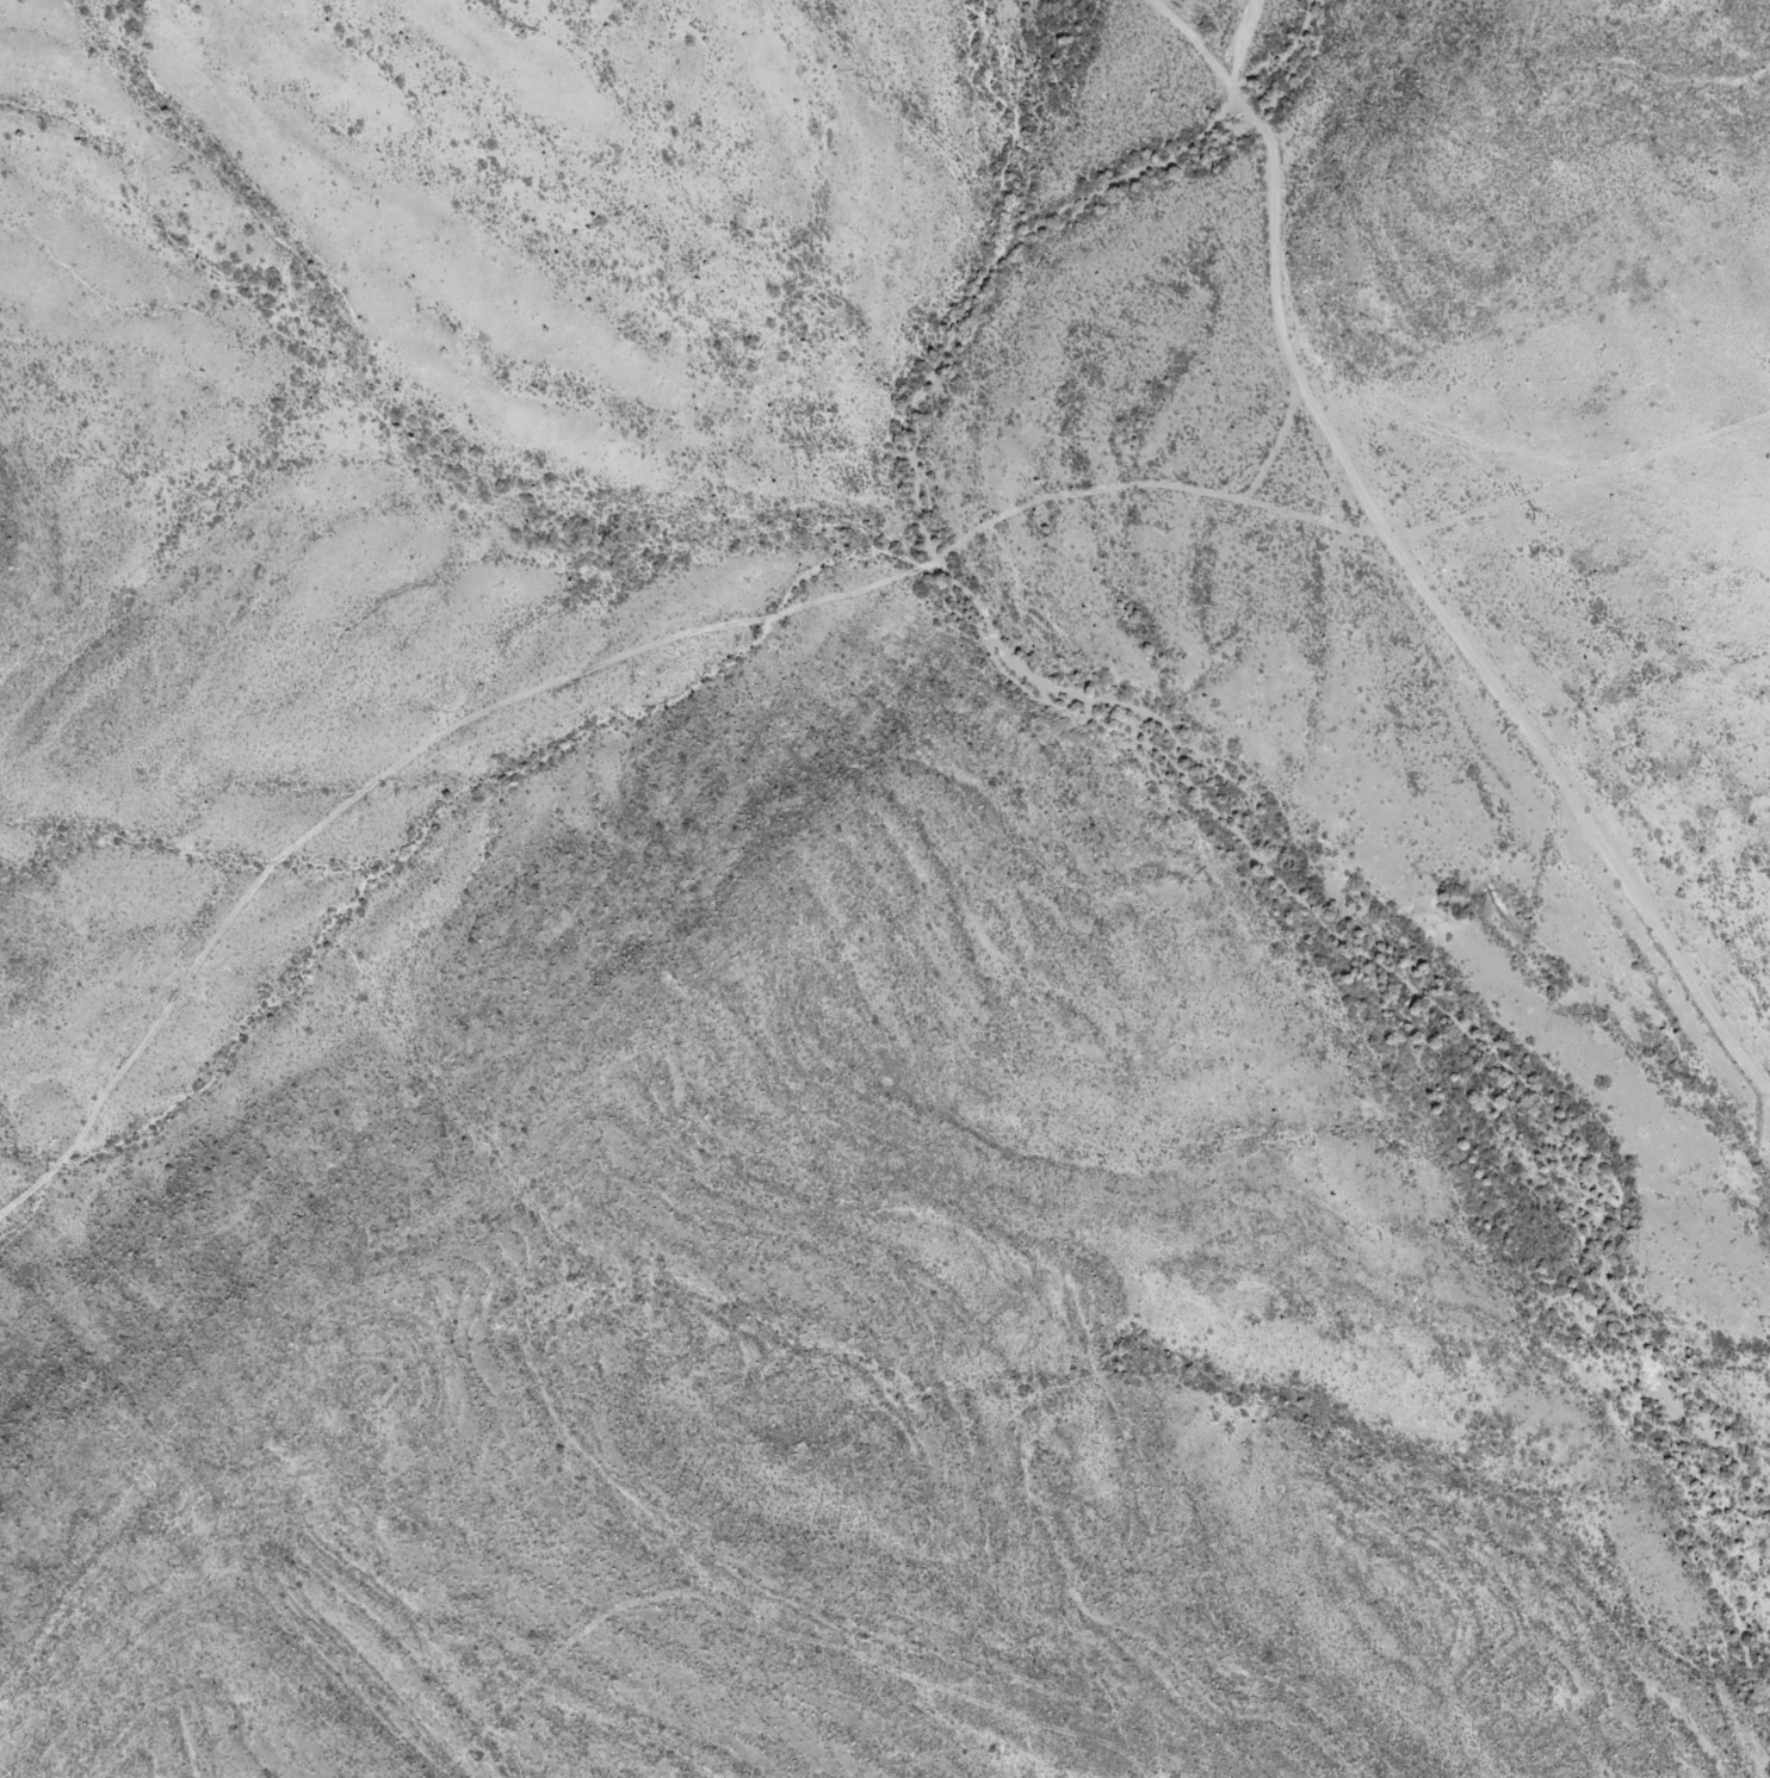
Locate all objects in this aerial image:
road: (1262, 13)
road: (1363, 432)
road: (1604, 775)

